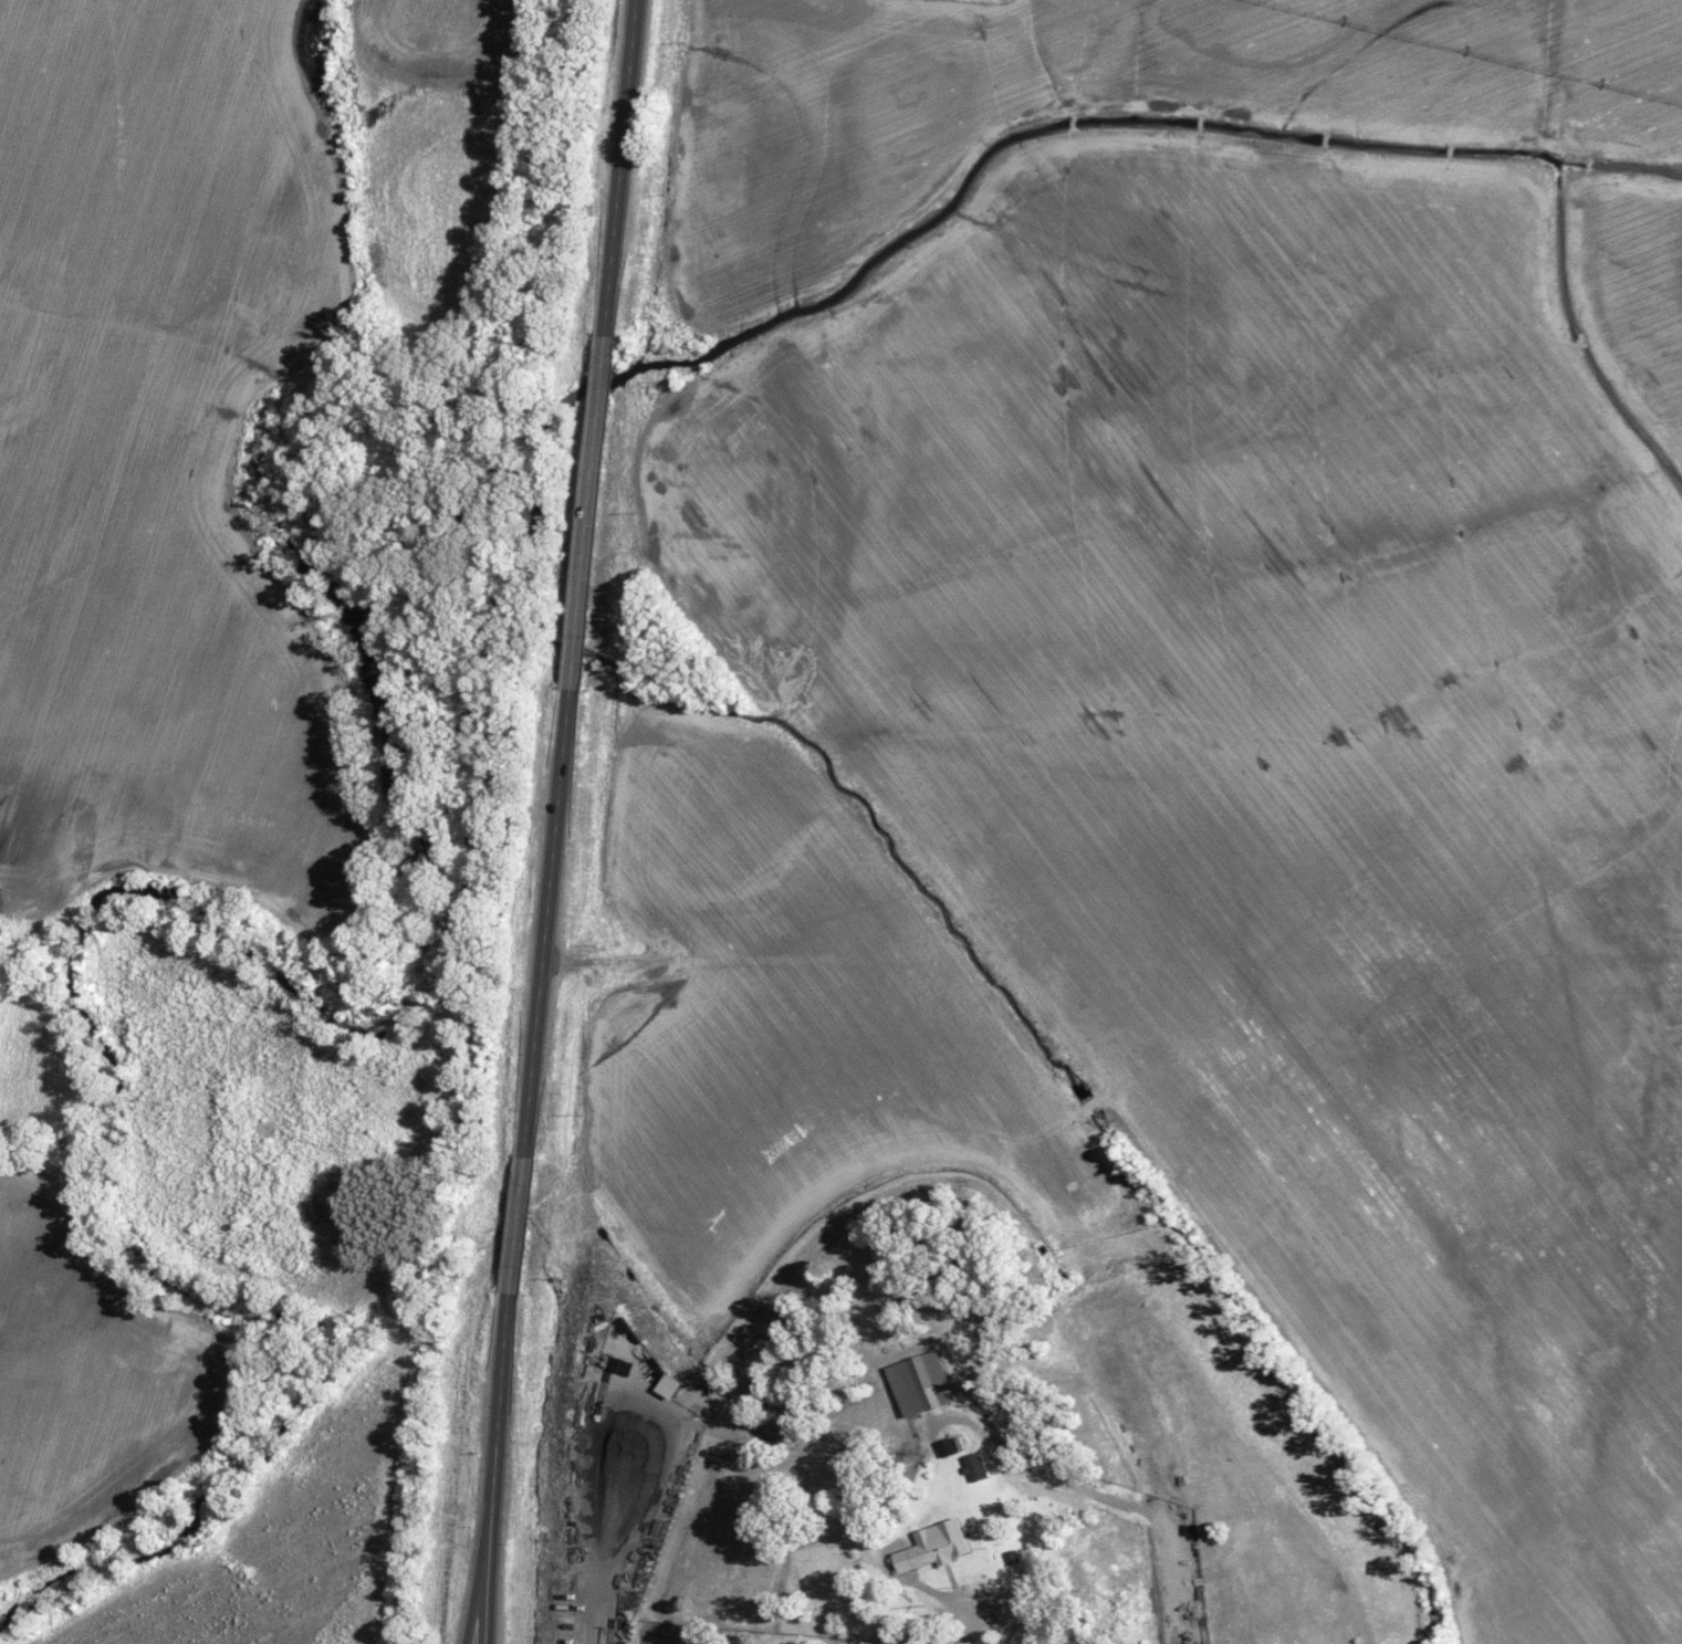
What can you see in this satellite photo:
road: (618, 169)
road: (585, 514)
road: (547, 923)
road: (518, 1226)
building: (931, 1395)
road: (498, 1415)
building: (774, 1422)
building: (976, 1465)
road: (1095, 1494)
road: (627, 1530)
building: (931, 1551)
road: (478, 1590)
road: (489, 1590)
road: (965, 1629)
building: (1021, 1636)

